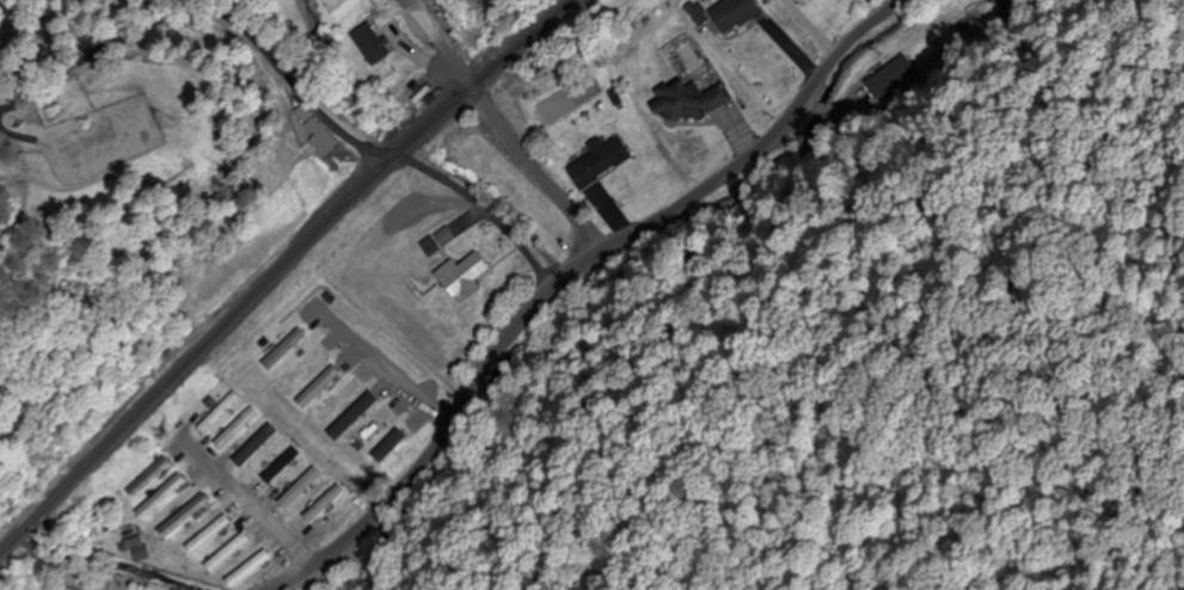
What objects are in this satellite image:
building: (342, 7)
building: (737, 14)
building: (890, 85)
building: (689, 102)
road: (502, 125)
building: (318, 133)
building: (602, 160)
building: (515, 195)
building: (440, 241)
railway: (281, 270)
building: (464, 274)
road: (566, 276)
building: (284, 351)
building: (300, 371)
building: (320, 387)
building: (339, 401)
building: (221, 413)
building: (356, 416)
building: (237, 429)
building: (374, 429)
building: (392, 444)
building: (257, 445)
building: (282, 466)
building: (151, 478)
building: (301, 490)
building: (164, 497)
building: (325, 504)
building: (185, 516)
building: (210, 535)
building: (137, 551)
building: (229, 554)
building: (251, 571)
building: (65, 589)

